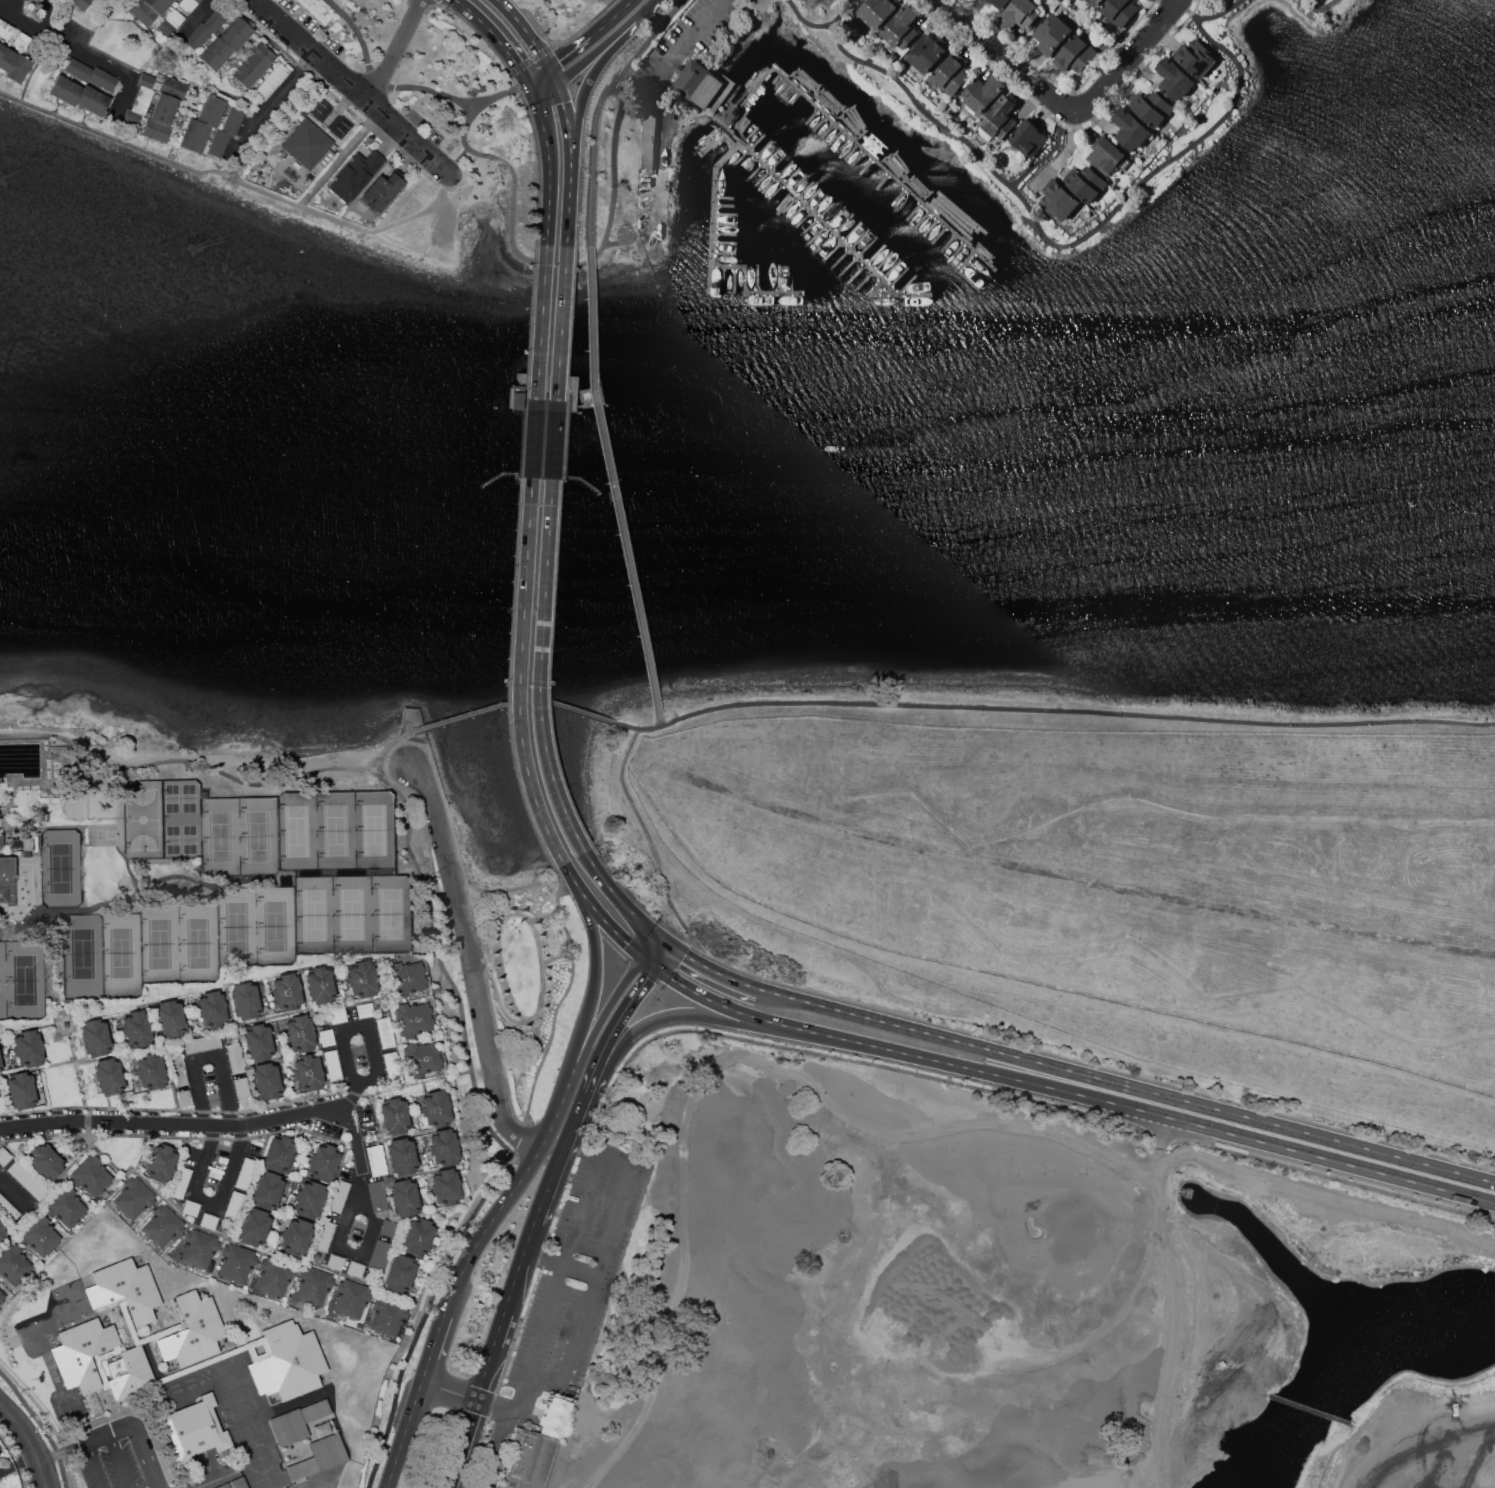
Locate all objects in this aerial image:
road: (656, 0)
road: (499, 1)
road: (501, 1)
road: (606, 1)
building: (995, 2)
building: (1096, 3)
road: (14, 4)
building: (81, 4)
building: (188, 4)
road: (1313, 9)
building: (148, 10)
building: (878, 11)
building: (1120, 11)
road: (1188, 12)
road: (45, 14)
building: (1019, 15)
road: (18, 16)
road: (199, 18)
road: (614, 19)
road: (635, 21)
road: (807, 22)
building: (170, 23)
road: (138, 24)
road: (97, 26)
building: (902, 28)
building: (5, 29)
building: (206, 29)
road: (527, 33)
building: (1052, 35)
road: (499, 39)
road: (650, 40)
road: (687, 40)
building: (21, 41)
building: (225, 44)
road: (396, 49)
road: (156, 52)
road: (244, 52)
road: (570, 52)
building: (928, 53)
road: (85, 54)
building: (1075, 55)
building: (1195, 58)
road: (584, 62)
building: (14, 64)
building: (253, 65)
road: (35, 67)
traffic signals: (550, 68)
building: (952, 74)
building: (90, 75)
road: (553, 76)
road: (345, 78)
road: (541, 78)
building: (1174, 79)
building: (271, 82)
park: (446, 84)
traffic signals: (556, 84)
building: (702, 85)
road: (544, 86)
road: (206, 87)
road: (417, 87)
traffic signals: (532, 88)
road: (128, 89)
road: (584, 92)
road: (277, 94)
building: (983, 94)
building: (80, 95)
road: (502, 96)
building: (139, 102)
road: (340, 105)
road: (1066, 106)
building: (164, 109)
building: (1153, 109)
road: (566, 116)
building: (999, 119)
road: (182, 122)
building: (201, 124)
building: (1131, 129)
building: (225, 131)
building: (1028, 138)
building: (648, 139)
pier: (856, 141)
building: (309, 144)
road: (1051, 154)
road: (1067, 154)
road: (342, 157)
building: (1107, 157)
pier: (696, 158)
road: (457, 159)
road: (245, 161)
road: (596, 162)
road: (443, 166)
road: (551, 166)
building: (355, 175)
building: (1087, 184)
road: (257, 187)
building: (382, 190)
road: (570, 199)
building: (1059, 202)
pier: (806, 205)
pier: (714, 210)
road: (619, 245)
road: (1071, 245)
road: (595, 257)
pier: (968, 261)
pier: (746, 292)
pier: (901, 295)
road: (592, 317)
road: (544, 322)
road: (563, 323)
road: (601, 433)
road: (536, 436)
road: (555, 438)
road: (635, 599)
road: (539, 669)
road: (519, 676)
road: (516, 704)
road: (1065, 711)
road: (660, 722)
road: (629, 727)
road: (404, 746)
park: (182, 748)
road: (201, 760)
park: (181, 818)
park: (143, 819)
park: (374, 830)
park: (336, 831)
park: (296, 832)
park: (219, 836)
park: (257, 836)
building: (16, 843)
road: (653, 846)
building: (27, 854)
park: (60, 870)
landfill: (1096, 876)
building: (7, 882)
road: (620, 894)
road: (559, 906)
road: (601, 913)
road: (442, 915)
park: (314, 916)
park: (351, 916)
park: (390, 916)
park: (275, 927)
park: (236, 928)
road: (566, 930)
road: (662, 933)
road: (649, 942)
park: (159, 945)
park: (198, 945)
road: (658, 949)
park: (120, 954)
park: (82, 955)
road: (558, 957)
road: (646, 957)
road: (475, 962)
road: (709, 968)
building: (407, 978)
building: (363, 979)
road: (593, 981)
park: (24, 982)
park: (534, 982)
building: (320, 985)
building: (287, 991)
road: (498, 995)
building: (247, 998)
building: (212, 1009)
building: (364, 1009)
building: (337, 1015)
building: (171, 1018)
road: (695, 1018)
building: (413, 1019)
road: (525, 1020)
road: (596, 1020)
road: (613, 1023)
building: (137, 1028)
road: (555, 1029)
building: (300, 1033)
building: (385, 1033)
building: (95, 1037)
building: (327, 1038)
building: (258, 1042)
building: (202, 1044)
building: (29, 1048)
road: (342, 1049)
road: (205, 1056)
building: (235, 1058)
building: (422, 1058)
building: (1, 1062)
building: (332, 1065)
building: (393, 1067)
road: (372, 1068)
building: (178, 1070)
building: (151, 1072)
building: (308, 1072)
building: (0, 1073)
building: (109, 1077)
building: (267, 1081)
road: (1126, 1084)
road: (402, 1088)
road: (1068, 1090)
building: (21, 1091)
building: (243, 1093)
building: (183, 1098)
building: (2, 1104)
building: (436, 1108)
road: (577, 1115)
building: (394, 1116)
road: (173, 1124)
road: (486, 1126)
building: (372, 1134)
road: (355, 1139)
building: (444, 1147)
building: (279, 1154)
building: (401, 1155)
building: (4, 1156)
building: (376, 1160)
building: (45, 1161)
building: (323, 1162)
building: (160, 1163)
road: (631, 1165)
building: (244, 1173)
building: (91, 1176)
building: (27, 1180)
road: (552, 1181)
building: (180, 1182)
road: (358, 1183)
building: (446, 1186)
building: (268, 1190)
road: (13, 1192)
building: (338, 1196)
building: (378, 1196)
building: (134, 1198)
building: (404, 1198)
road: (210, 1199)
building: (309, 1199)
road: (507, 1204)
building: (66, 1206)
building: (233, 1206)
building: (191, 1208)
building: (7, 1209)
building: (208, 1221)
building: (163, 1225)
building: (254, 1227)
building: (389, 1229)
building: (1, 1230)
building: (324, 1235)
building: (40, 1236)
building: (296, 1236)
building: (418, 1237)
building: (198, 1248)
building: (379, 1255)
building: (334, 1262)
building: (236, 1263)
building: (14, 1264)
road: (561, 1266)
road: (523, 1267)
building: (355, 1268)
building: (400, 1274)
building: (273, 1276)
building: (313, 1285)
building: (126, 1289)
road: (1163, 1291)
building: (2, 1296)
building: (351, 1299)
parking lot: (571, 1299)
park: (1009, 1305)
building: (387, 1317)
building: (194, 1328)
road: (436, 1350)
building: (82, 1353)
building: (286, 1361)
road: (1216, 1362)
building: (130, 1373)
road: (451, 1393)
road: (479, 1400)
road: (1311, 1409)
building: (297, 1422)
building: (194, 1429)
building: (322, 1429)
road: (1424, 1429)
road: (406, 1436)
road: (85, 1440)
road: (29, 1443)
building: (535, 1447)
road: (144, 1455)
building: (319, 1457)
road: (118, 1460)
road: (25, 1461)
road: (95, 1464)
road: (7, 1470)
building: (239, 1483)
building: (223, 1486)

